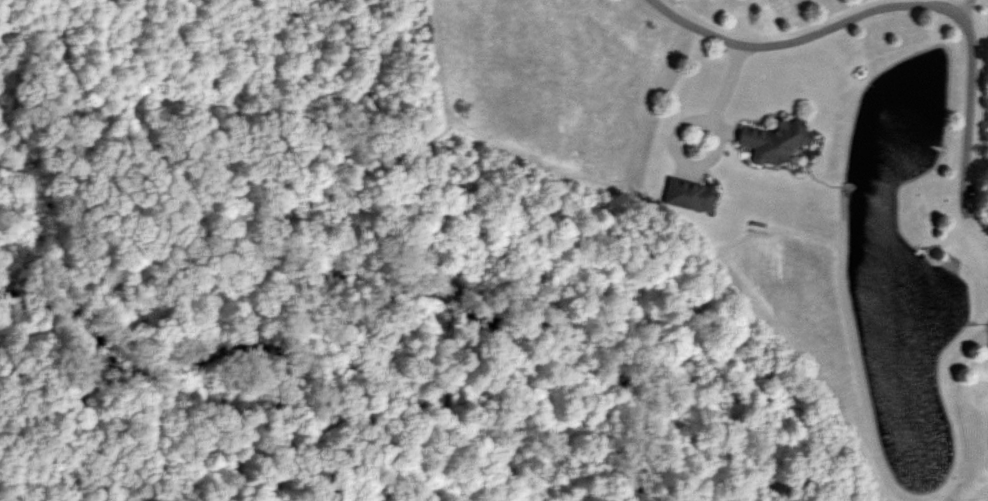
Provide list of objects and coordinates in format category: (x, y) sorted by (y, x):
road: (919, 2)
building: (774, 138)
building: (688, 193)

